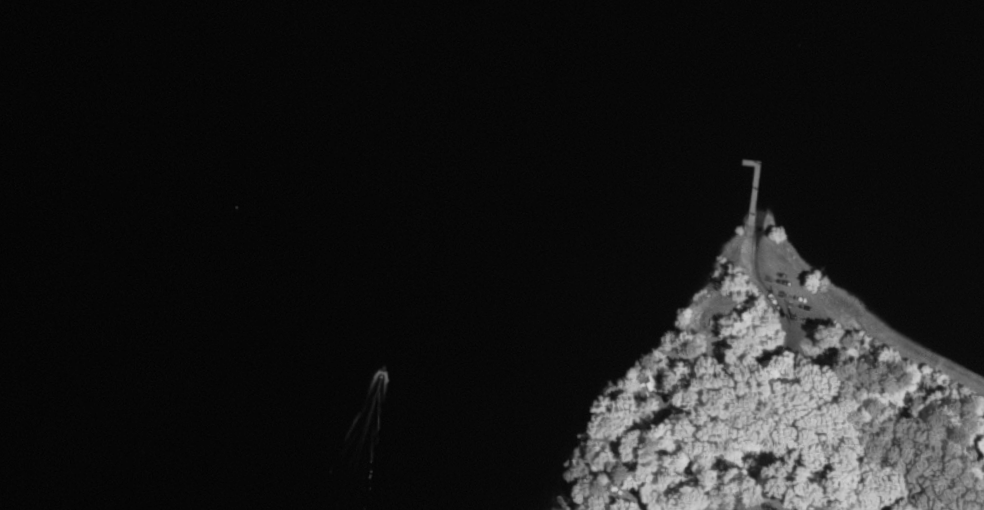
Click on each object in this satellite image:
road: (777, 353)
park: (773, 404)

